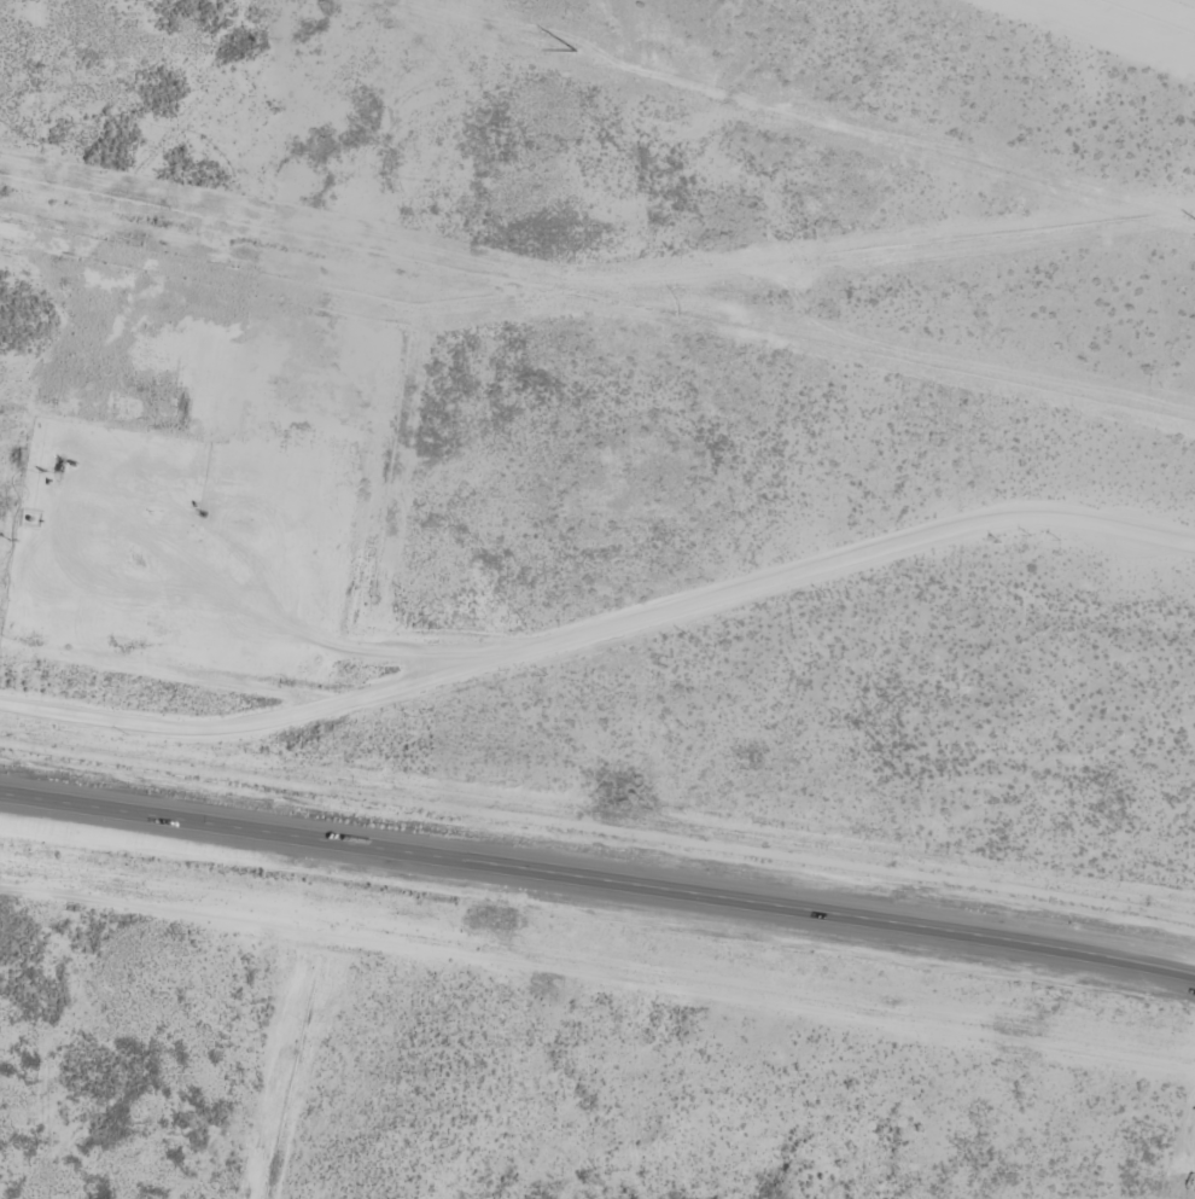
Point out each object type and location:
road: (597, 880)

